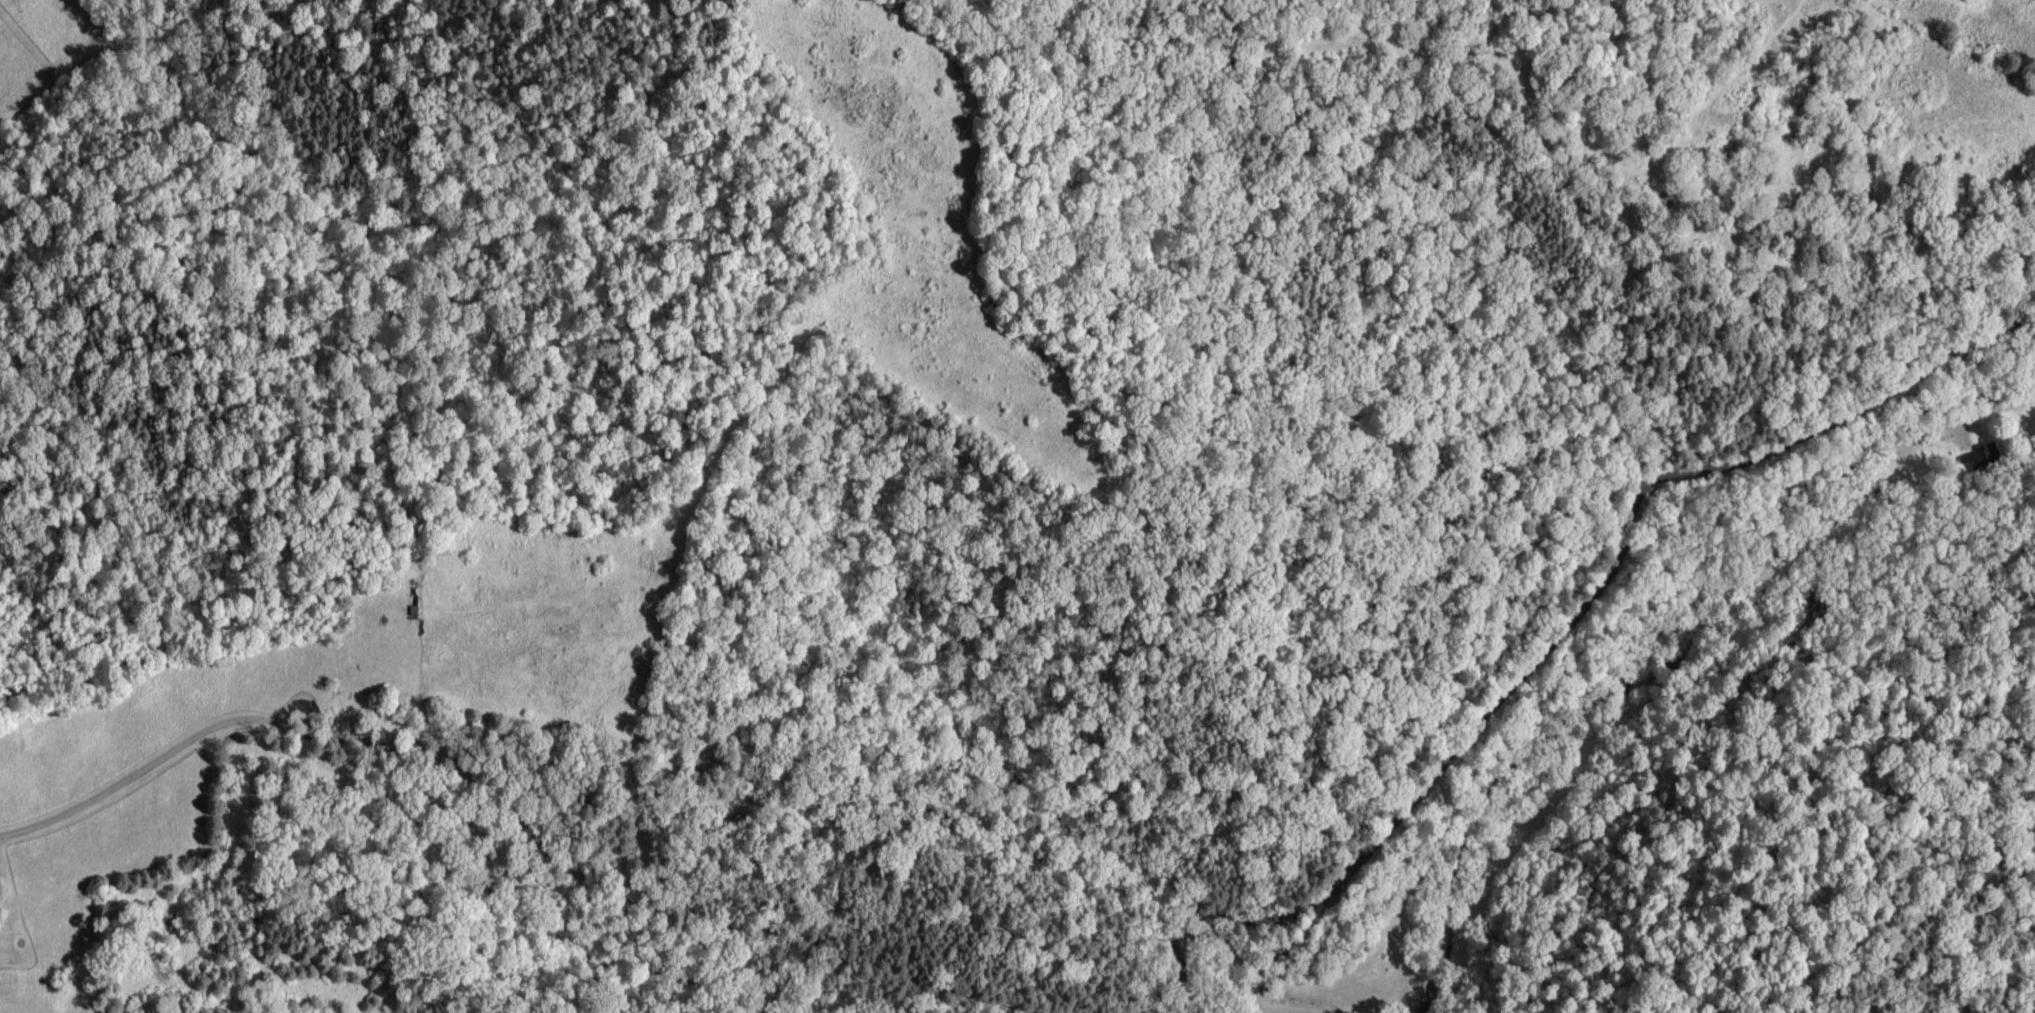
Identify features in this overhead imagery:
road: (2014, 404)
road: (1599, 595)
road: (508, 818)
road: (1261, 1010)

